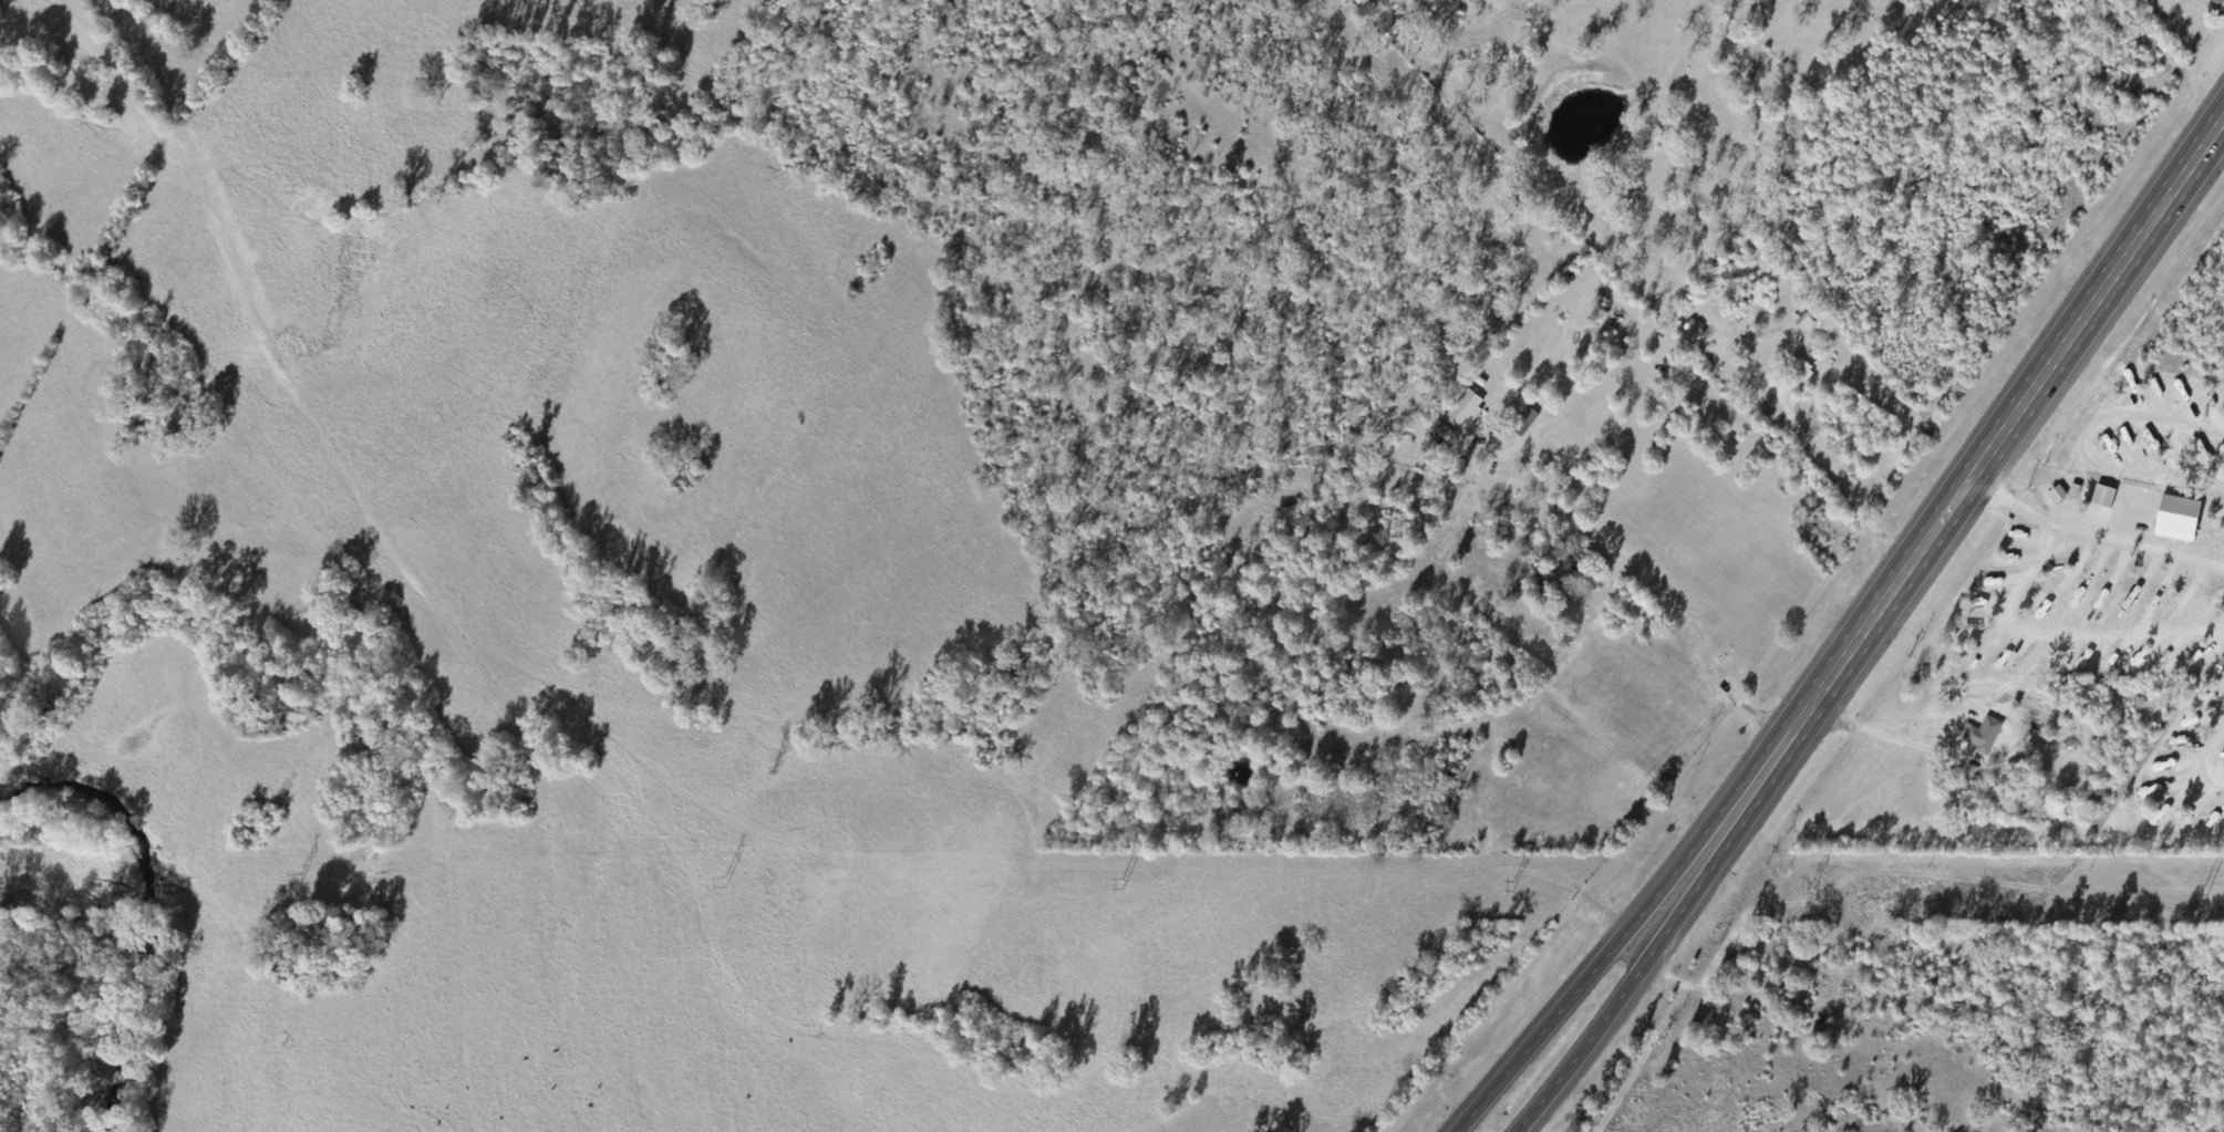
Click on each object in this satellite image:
building: (1386, 24)
road: (2026, 225)
building: (1735, 330)
building: (1461, 412)
road: (2006, 425)
road: (2090, 537)
road: (2057, 634)
building: (1512, 671)
building: (1979, 736)
road: (2206, 750)
road: (661, 773)
road: (1706, 834)
road: (1720, 845)
power tower: (298, 877)
power tower: (722, 879)
power tower: (1119, 881)
power tower: (1807, 883)
power tower: (1509, 884)
power tower: (2201, 889)
building: (1794, 998)
road: (1539, 1032)
road: (1585, 1045)

